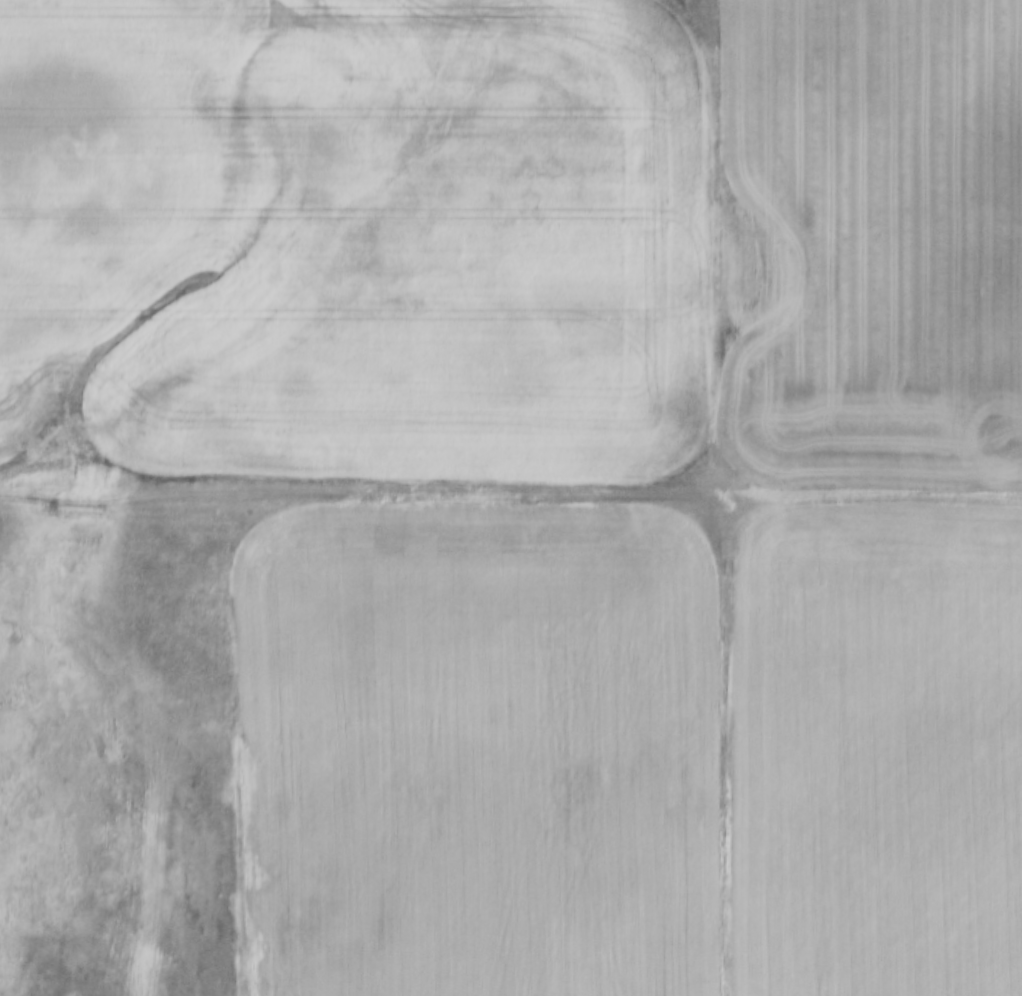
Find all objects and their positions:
road: (511, 491)

